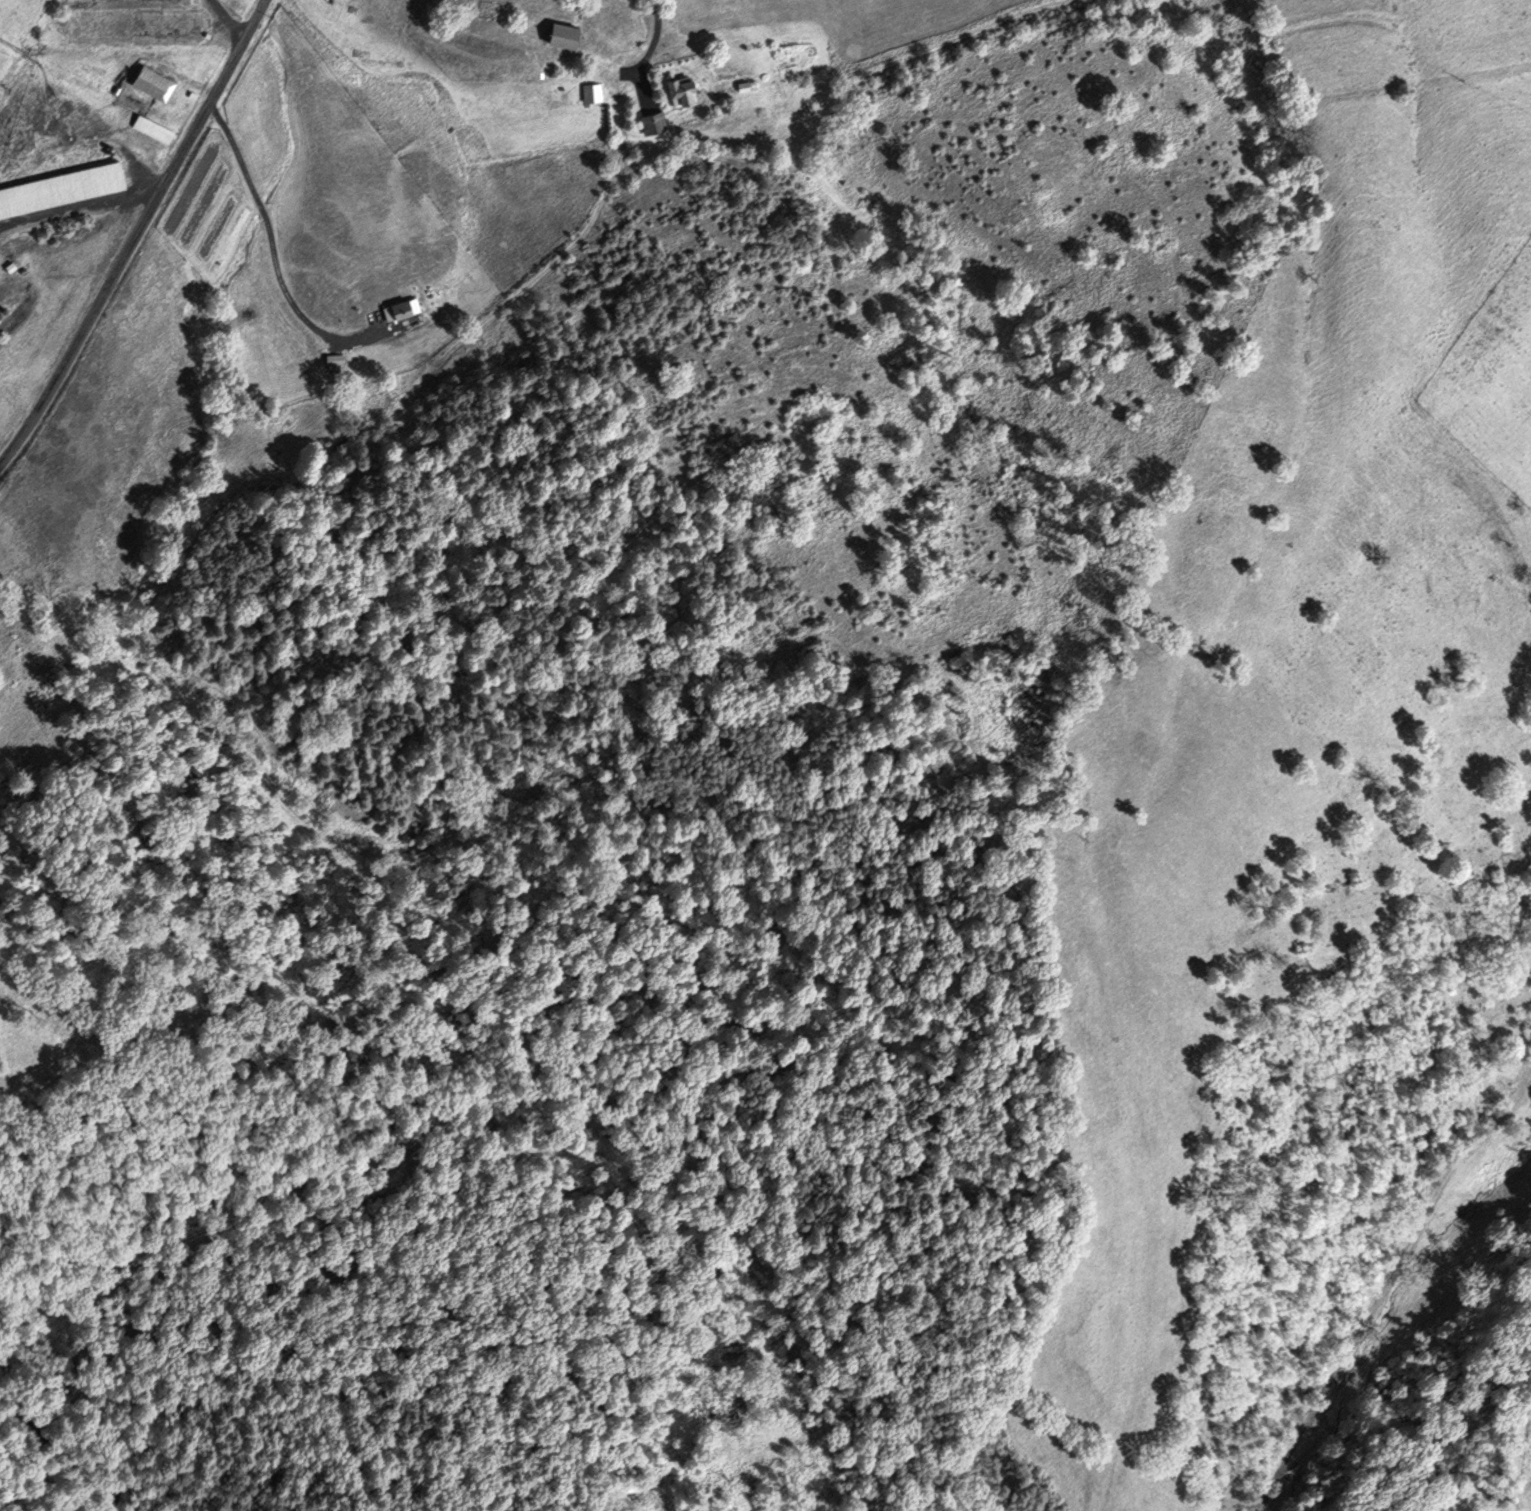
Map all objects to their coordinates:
building: (566, 35)
road: (647, 50)
building: (153, 83)
building: (742, 87)
building: (681, 91)
building: (590, 93)
building: (652, 123)
building: (153, 128)
building: (60, 187)
road: (77, 209)
road: (135, 234)

